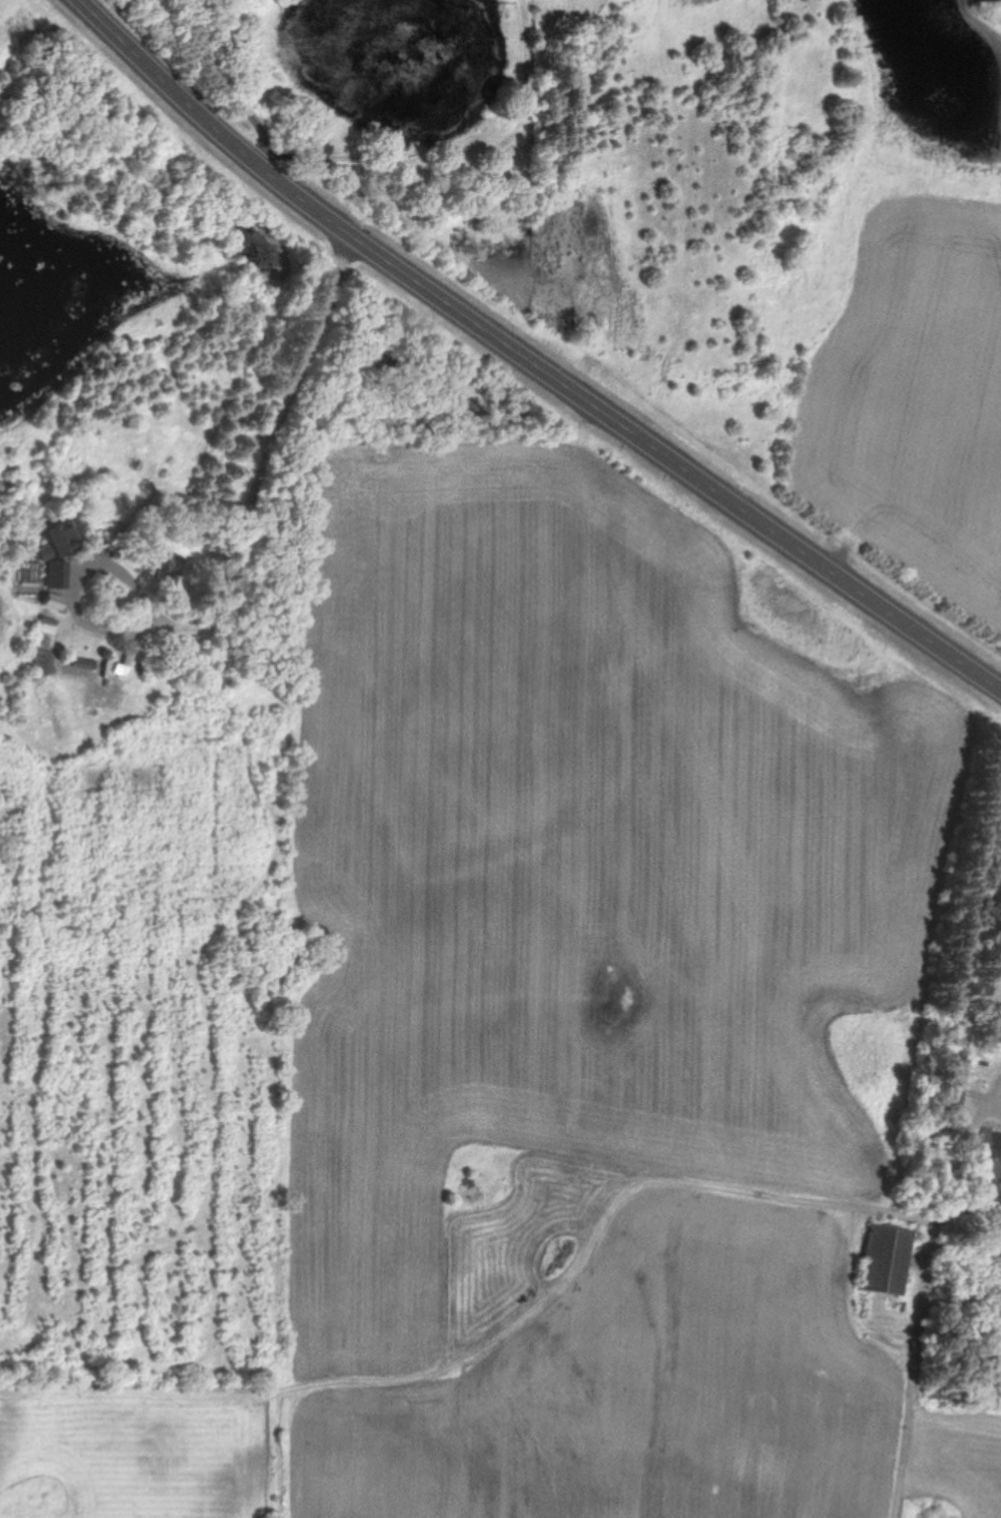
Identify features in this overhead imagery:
road: (454, 160)
road: (530, 359)
road: (269, 448)
building: (61, 549)
building: (179, 569)
road: (84, 622)
building: (998, 992)
building: (994, 1029)
building: (958, 1086)
building: (991, 1142)
building: (884, 1260)

